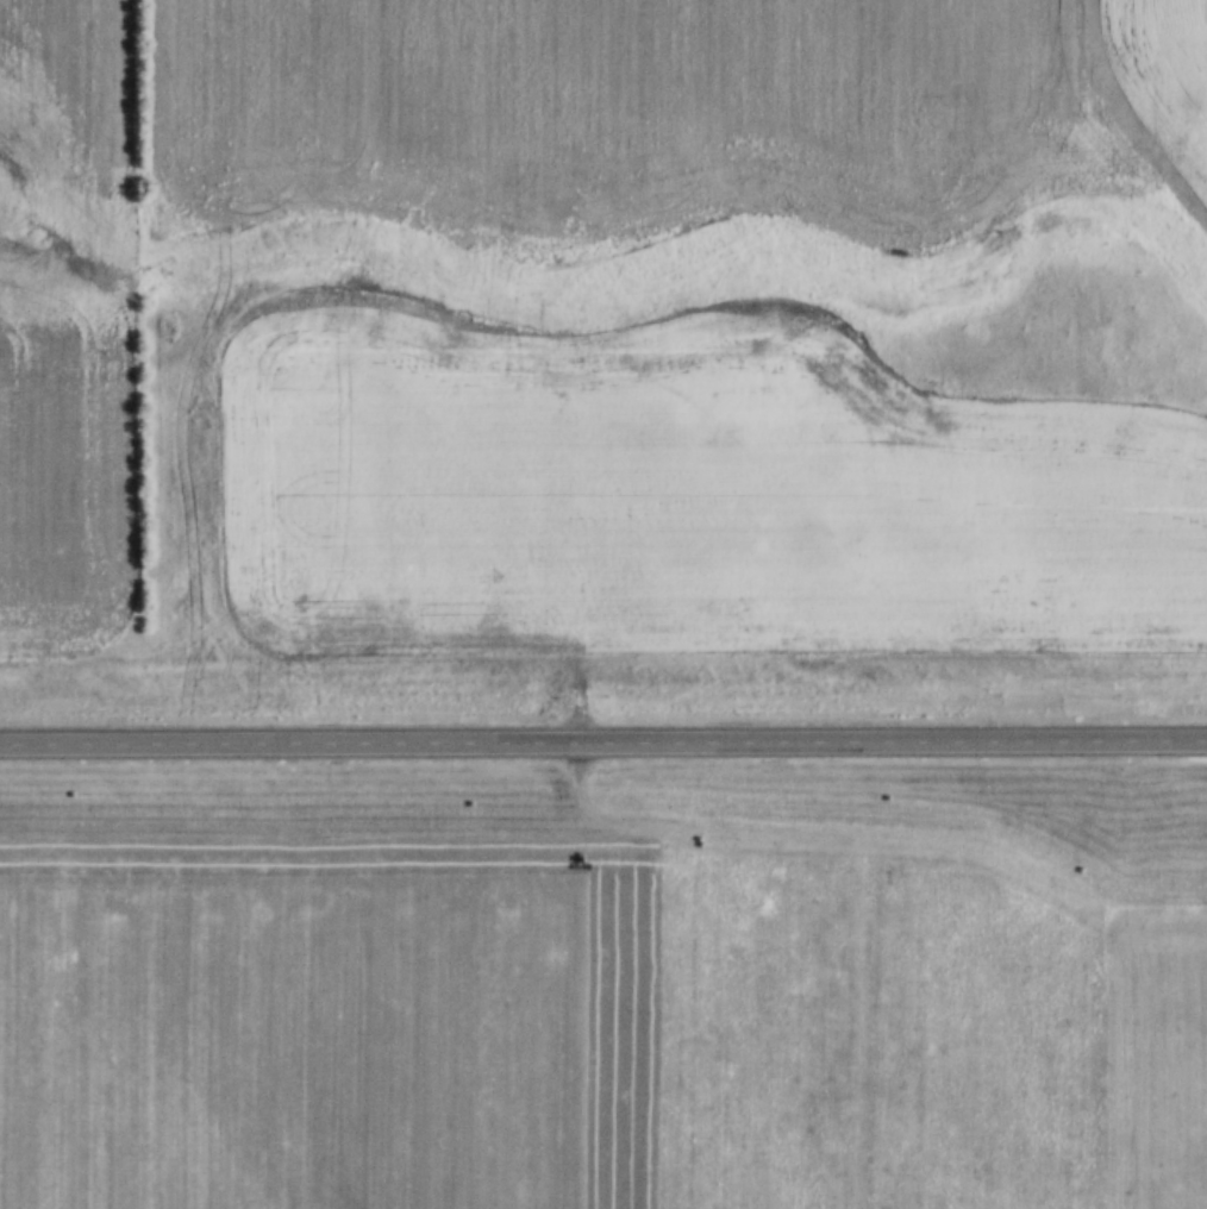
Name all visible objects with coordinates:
road: (602, 746)

